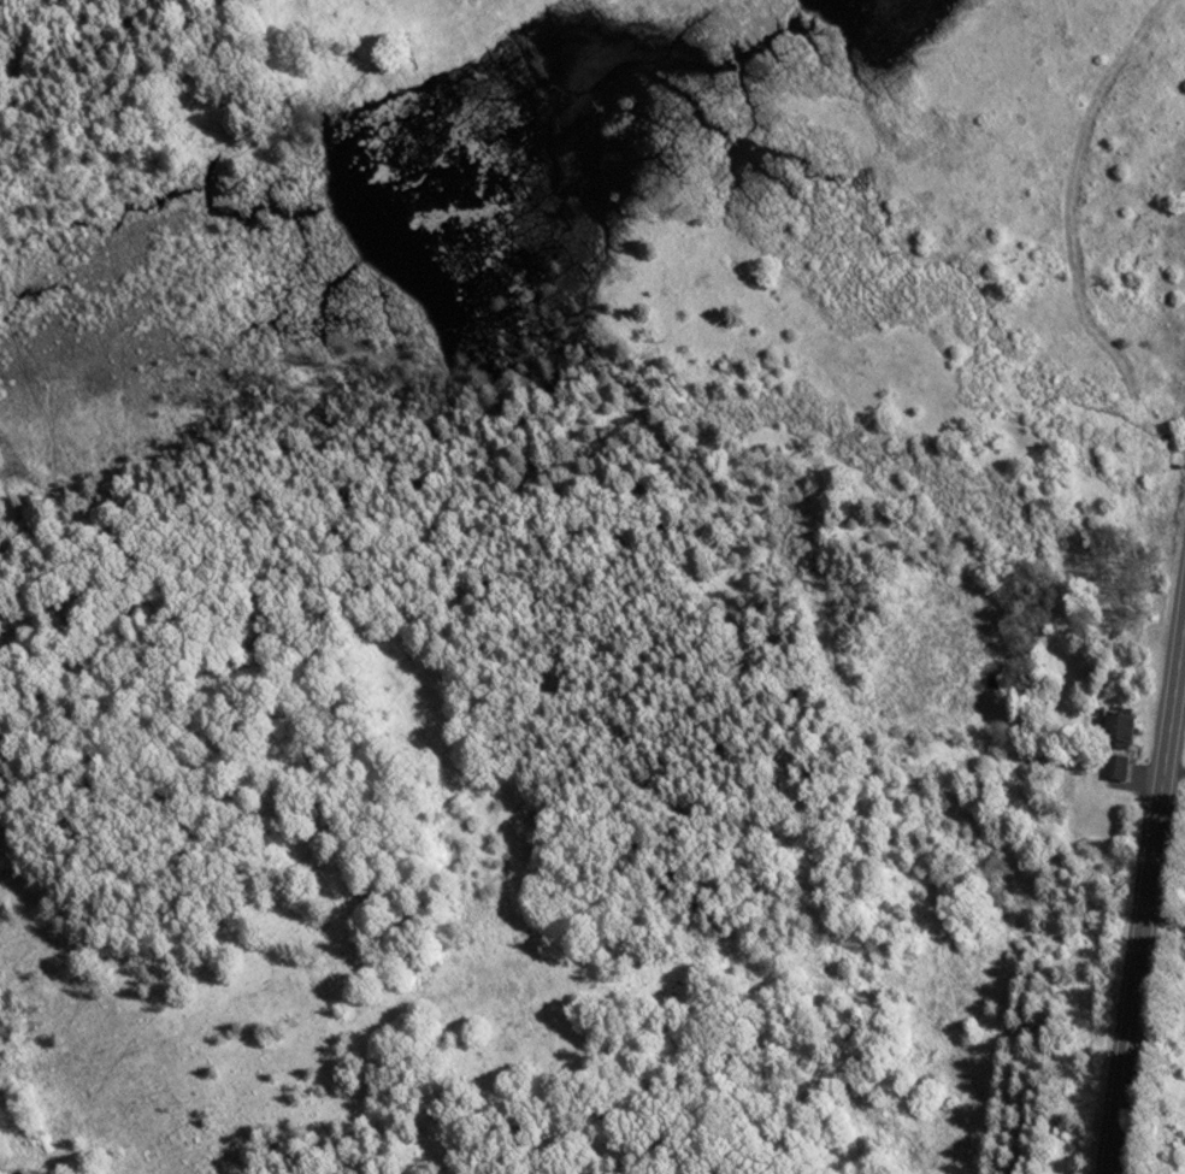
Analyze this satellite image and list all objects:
building: (1114, 730)
building: (1113, 767)
road: (1144, 883)

